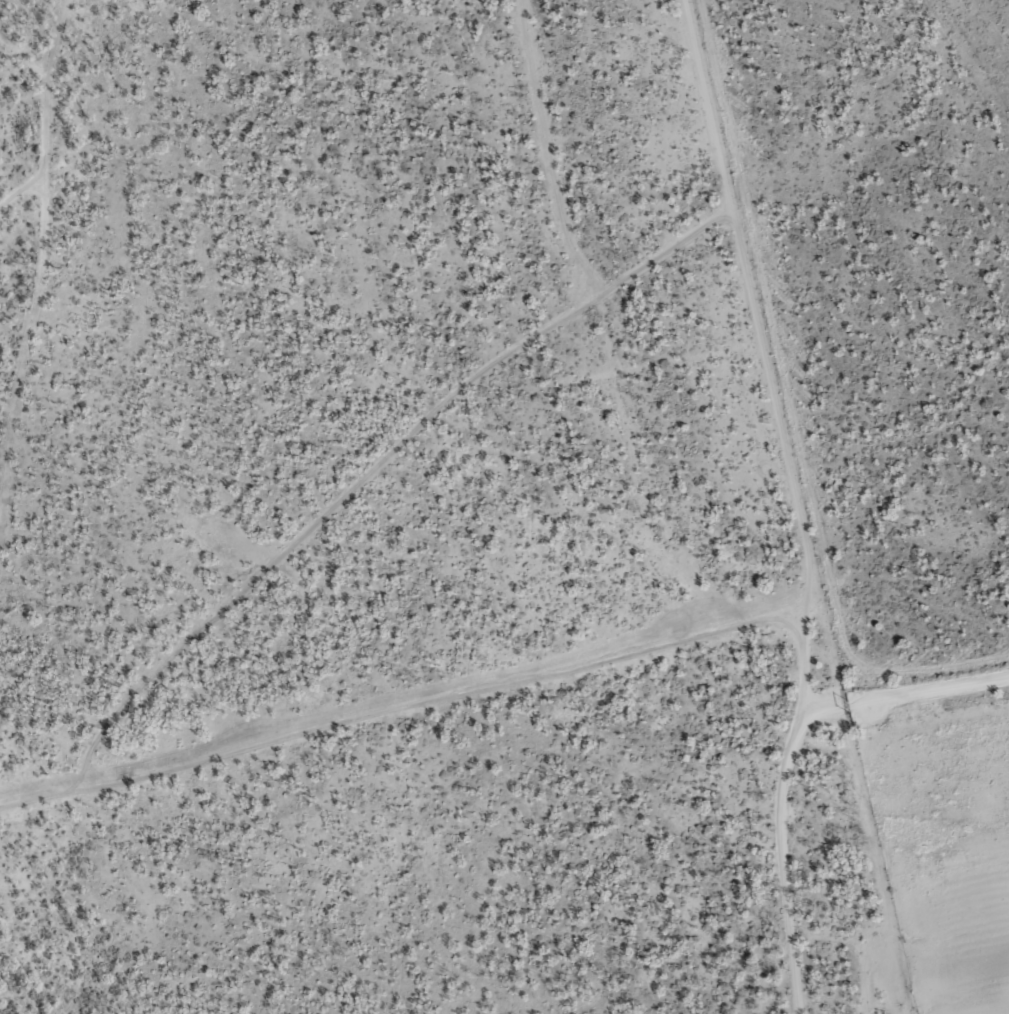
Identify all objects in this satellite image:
road: (806, 513)
road: (929, 689)

